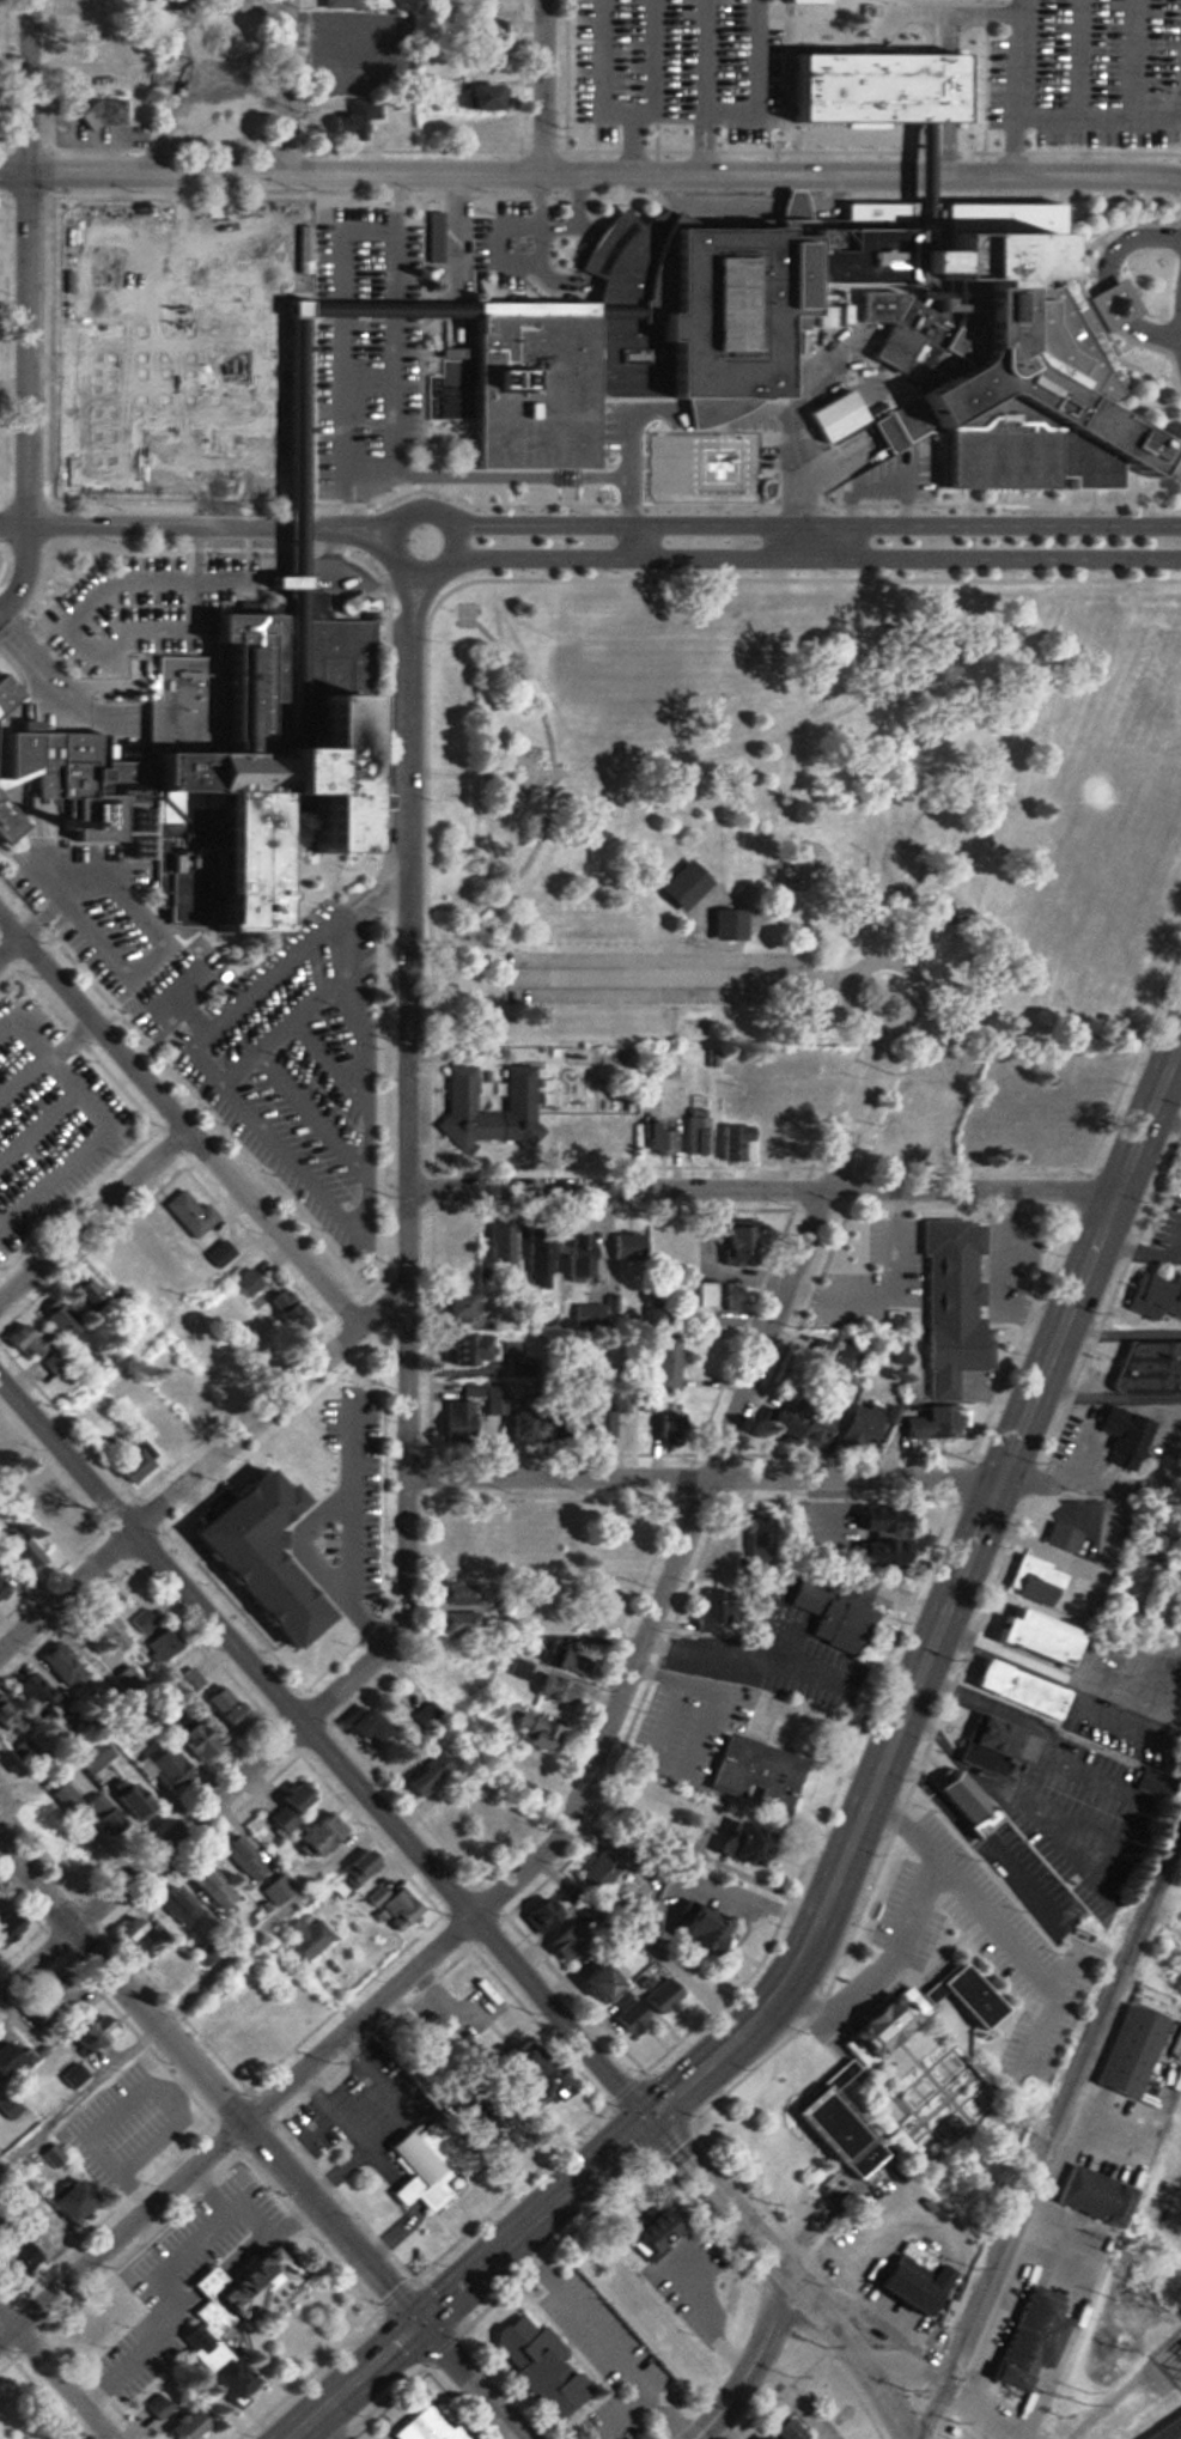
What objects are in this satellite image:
building: (78, 0)
building: (229, 0)
building: (482, 2)
building: (335, 4)
road: (808, 11)
road: (804, 23)
building: (224, 25)
building: (79, 28)
building: (480, 28)
building: (339, 29)
parking lot: (741, 60)
road: (1079, 60)
road: (1134, 60)
building: (476, 61)
parking lot: (628, 66)
parking lot: (1090, 71)
building: (230, 78)
building: (340, 80)
building: (75, 81)
road: (756, 83)
building: (879, 86)
road: (287, 87)
road: (542, 87)
road: (702, 87)
road: (1015, 87)
building: (474, 96)
road: (628, 111)
building: (98, 115)
road: (1100, 120)
building: (347, 121)
building: (218, 122)
building: (419, 124)
building: (473, 130)
road: (633, 144)
road: (452, 176)
building: (913, 176)
road: (913, 176)
road: (913, 177)
road: (1051, 177)
building: (431, 238)
road: (1128, 239)
parking lot: (513, 244)
building: (739, 291)
road: (1114, 300)
road: (30, 308)
building: (291, 309)
road: (291, 309)
road: (386, 309)
road: (559, 310)
building: (617, 310)
road: (1150, 334)
building: (1003, 343)
parking lot: (366, 346)
parking lot: (174, 348)
road: (142, 349)
road: (59, 366)
road: (201, 379)
building: (532, 385)
road: (711, 409)
airport hangar: (835, 414)
building: (835, 414)
road: (791, 428)
road: (627, 438)
road: (291, 446)
helipad: (702, 463)
helipad: (719, 466)
road: (828, 466)
road: (258, 468)
road: (391, 470)
road: (481, 478)
road: (364, 481)
road: (342, 493)
road: (437, 512)
road: (352, 522)
road: (176, 525)
road: (814, 525)
road: (372, 528)
road: (193, 552)
road: (816, 559)
road: (407, 572)
building: (287, 583)
road: (292, 591)
building: (291, 597)
road: (413, 602)
parking lot: (138, 610)
road: (71, 631)
road: (966, 646)
building: (4, 695)
road: (962, 740)
building: (226, 744)
road: (554, 780)
road: (940, 801)
park: (806, 805)
road: (722, 813)
building: (6, 822)
road: (74, 866)
road: (373, 886)
building: (680, 886)
road: (919, 910)
parking lot: (95, 914)
road: (39, 919)
building: (723, 924)
road: (10, 945)
road: (178, 1002)
road: (274, 1038)
road: (72, 1041)
parking lot: (285, 1057)
road: (329, 1064)
building: (795, 1064)
road: (22, 1073)
building: (516, 1088)
building: (744, 1095)
building: (919, 1097)
building: (786, 1106)
road: (312, 1115)
building: (1000, 1119)
road: (1167, 1119)
parking lot: (47, 1121)
road: (105, 1124)
road: (38, 1125)
building: (610, 1131)
building: (694, 1131)
building: (652, 1135)
building: (913, 1138)
building: (731, 1142)
road: (201, 1145)
road: (765, 1188)
road: (331, 1211)
building: (187, 1214)
road: (95, 1215)
road: (1163, 1218)
building: (850, 1242)
building: (997, 1242)
building: (497, 1243)
building: (900, 1243)
building: (639, 1246)
building: (217, 1254)
building: (536, 1258)
building: (571, 1258)
building: (243, 1282)
building: (694, 1294)
building: (720, 1294)
building: (1153, 1296)
building: (450, 1304)
building: (285, 1310)
building: (847, 1312)
building: (583, 1315)
building: (55, 1318)
building: (653, 1320)
building: (22, 1340)
building: (948, 1345)
building: (470, 1348)
building: (844, 1352)
building: (53, 1363)
building: (662, 1363)
building: (1143, 1370)
road: (407, 1400)
building: (339, 1404)
building: (196, 1405)
building: (455, 1419)
building: (771, 1422)
building: (932, 1422)
building: (665, 1424)
building: (591, 1425)
building: (852, 1427)
building: (805, 1428)
building: (1119, 1436)
building: (291, 1453)
building: (2, 1455)
building: (349, 1462)
building: (128, 1464)
road: (205, 1468)
building: (467, 1470)
road: (795, 1479)
building: (451, 1526)
building: (53, 1527)
building: (550, 1534)
building: (512, 1535)
building: (875, 1535)
building: (1145, 1535)
building: (755, 1537)
building: (1058, 1537)
building: (719, 1547)
building: (19, 1549)
building: (221, 1549)
building: (1030, 1581)
building: (0, 1588)
building: (456, 1594)
building: (604, 1610)
building: (710, 1611)
building: (828, 1613)
building: (456, 1623)
building: (102, 1626)
building: (150, 1634)
building: (1031, 1636)
building: (562, 1662)
building: (59, 1666)
building: (516, 1668)
building: (442, 1678)
building: (185, 1681)
building: (1016, 1689)
building: (30, 1690)
building: (550, 1690)
building: (491, 1704)
building: (220, 1708)
building: (6, 1714)
building: (422, 1717)
building: (357, 1726)
building: (534, 1732)
building: (189, 1741)
road: (598, 1747)
building: (992, 1747)
building: (521, 1764)
building: (163, 1768)
building: (751, 1775)
building: (422, 1776)
building: (12, 1789)
building: (62, 1798)
building: (126, 1798)
building: (449, 1801)
building: (957, 1802)
building: (286, 1806)
building: (101, 1814)
road: (858, 1824)
building: (481, 1832)
building: (313, 1833)
building: (735, 1844)
building: (239, 1857)
building: (355, 1869)
building: (595, 1872)
building: (209, 1885)
building: (274, 1888)
building: (384, 1902)
building: (176, 1904)
road: (463, 1904)
building: (535, 1914)
building: (231, 1928)
building: (688, 1930)
building: (133, 1935)
building: (300, 1940)
building: (615, 1944)
building: (166, 1967)
building: (590, 1978)
building: (47, 1996)
building: (658, 1997)
building: (626, 2019)
building: (89, 2033)
building: (238, 2050)
building: (1126, 2051)
building: (5, 2057)
building: (826, 2072)
building: (523, 2075)
building: (481, 2128)
railway: (1051, 2130)
road: (258, 2145)
building: (418, 2165)
building: (1089, 2196)
building: (63, 2200)
building: (647, 2230)
building: (12, 2256)
building: (906, 2279)
building: (611, 2283)
building: (235, 2287)
building: (79, 2328)
building: (1027, 2337)
building: (211, 2361)
road: (753, 2362)
building: (536, 2367)
road: (55, 2374)
road: (931, 2382)
building: (152, 2407)
building: (178, 2425)
building: (421, 2425)
building: (1167, 2429)
building: (775, 2431)
building: (753, 2437)

